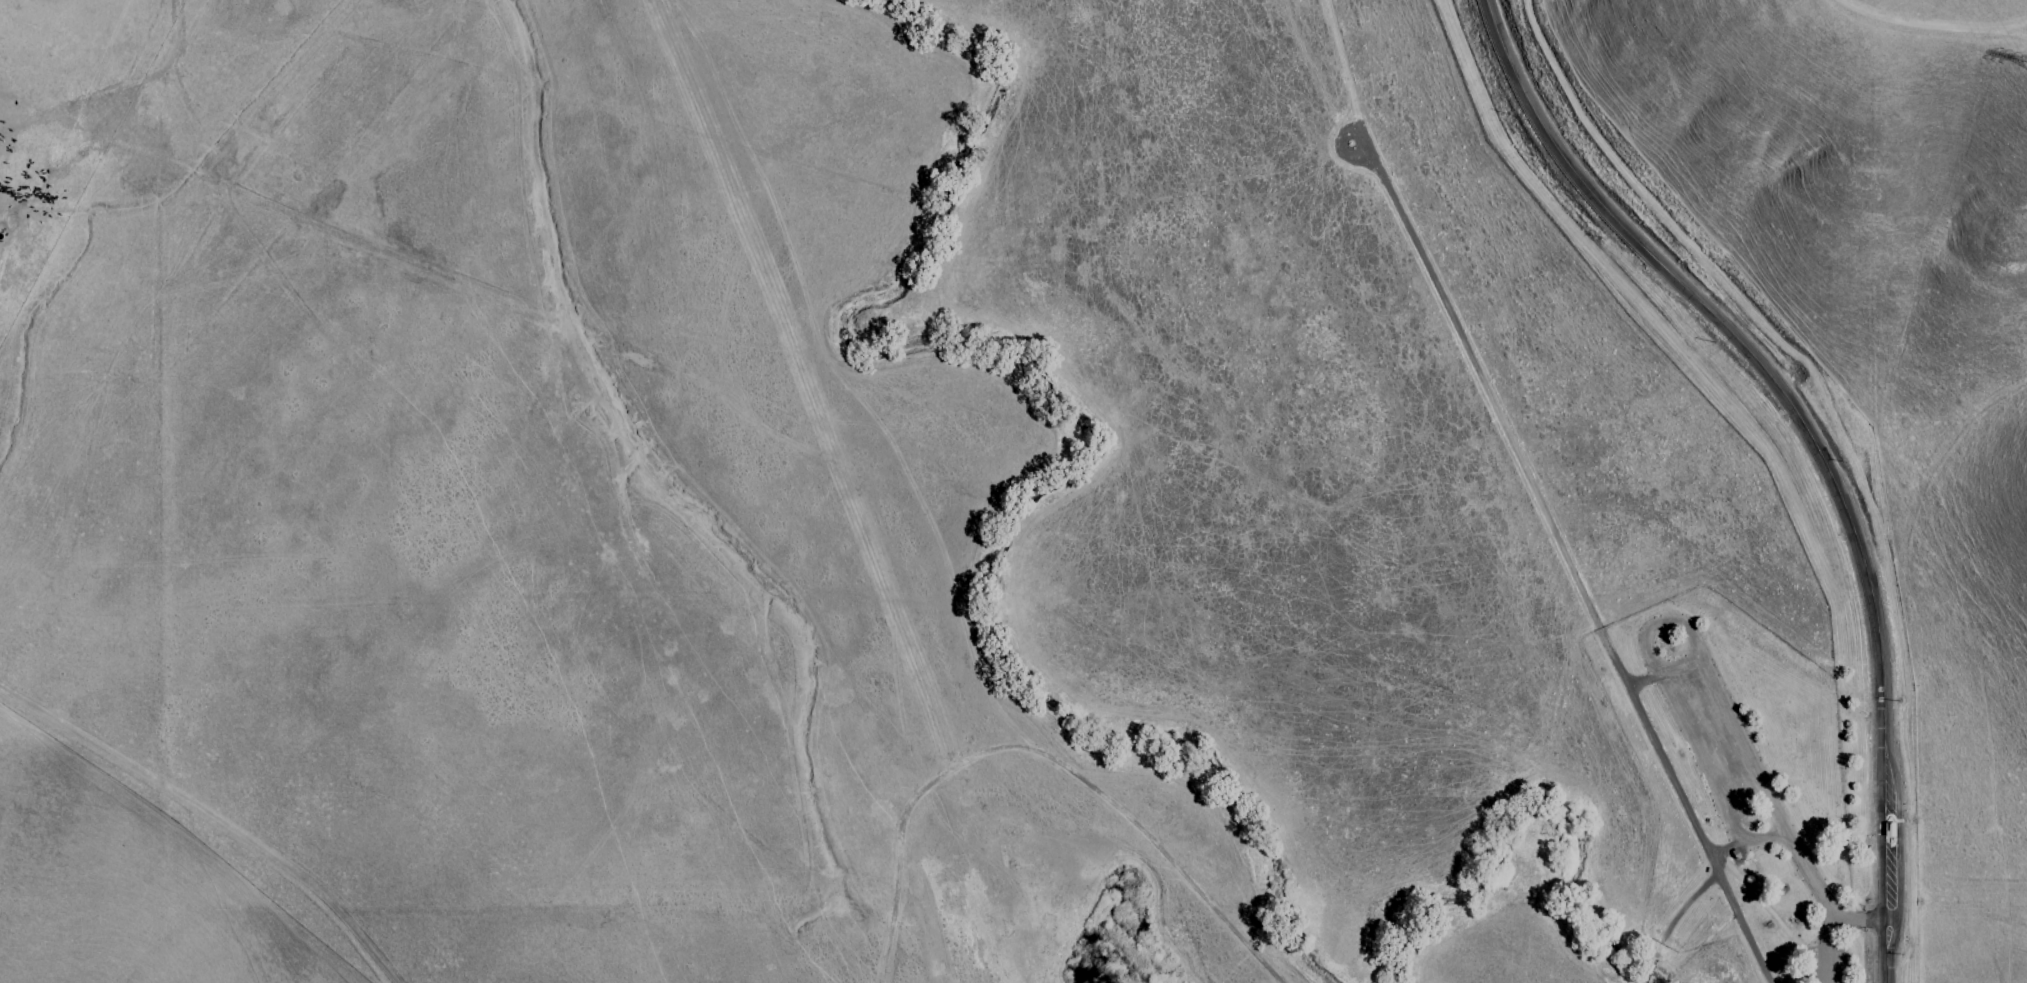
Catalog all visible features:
road: (1812, 443)
road: (1532, 496)
road: (1744, 750)
road: (1698, 759)
road: (207, 819)
road: (1744, 842)
road: (1861, 919)
road: (1827, 948)

